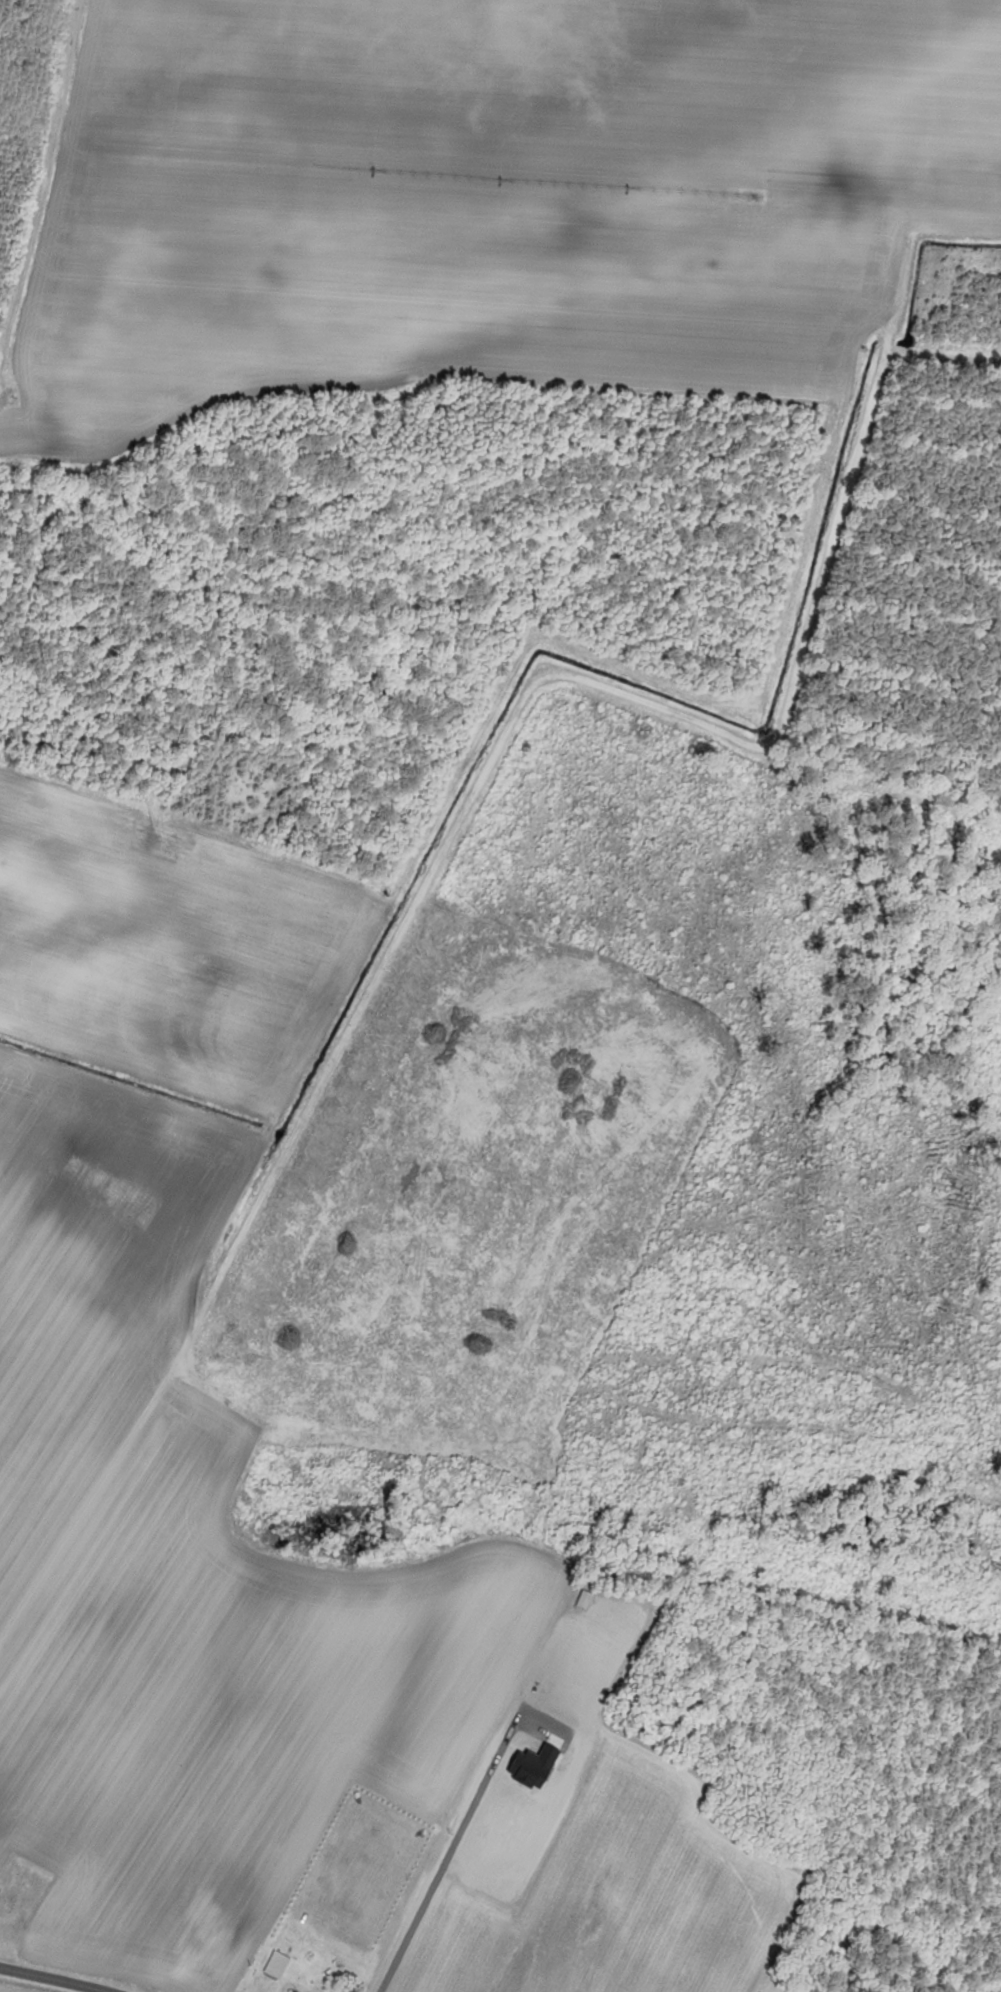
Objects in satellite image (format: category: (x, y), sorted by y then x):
building: (275, 1965)
road: (44, 1982)
building: (293, 1991)

